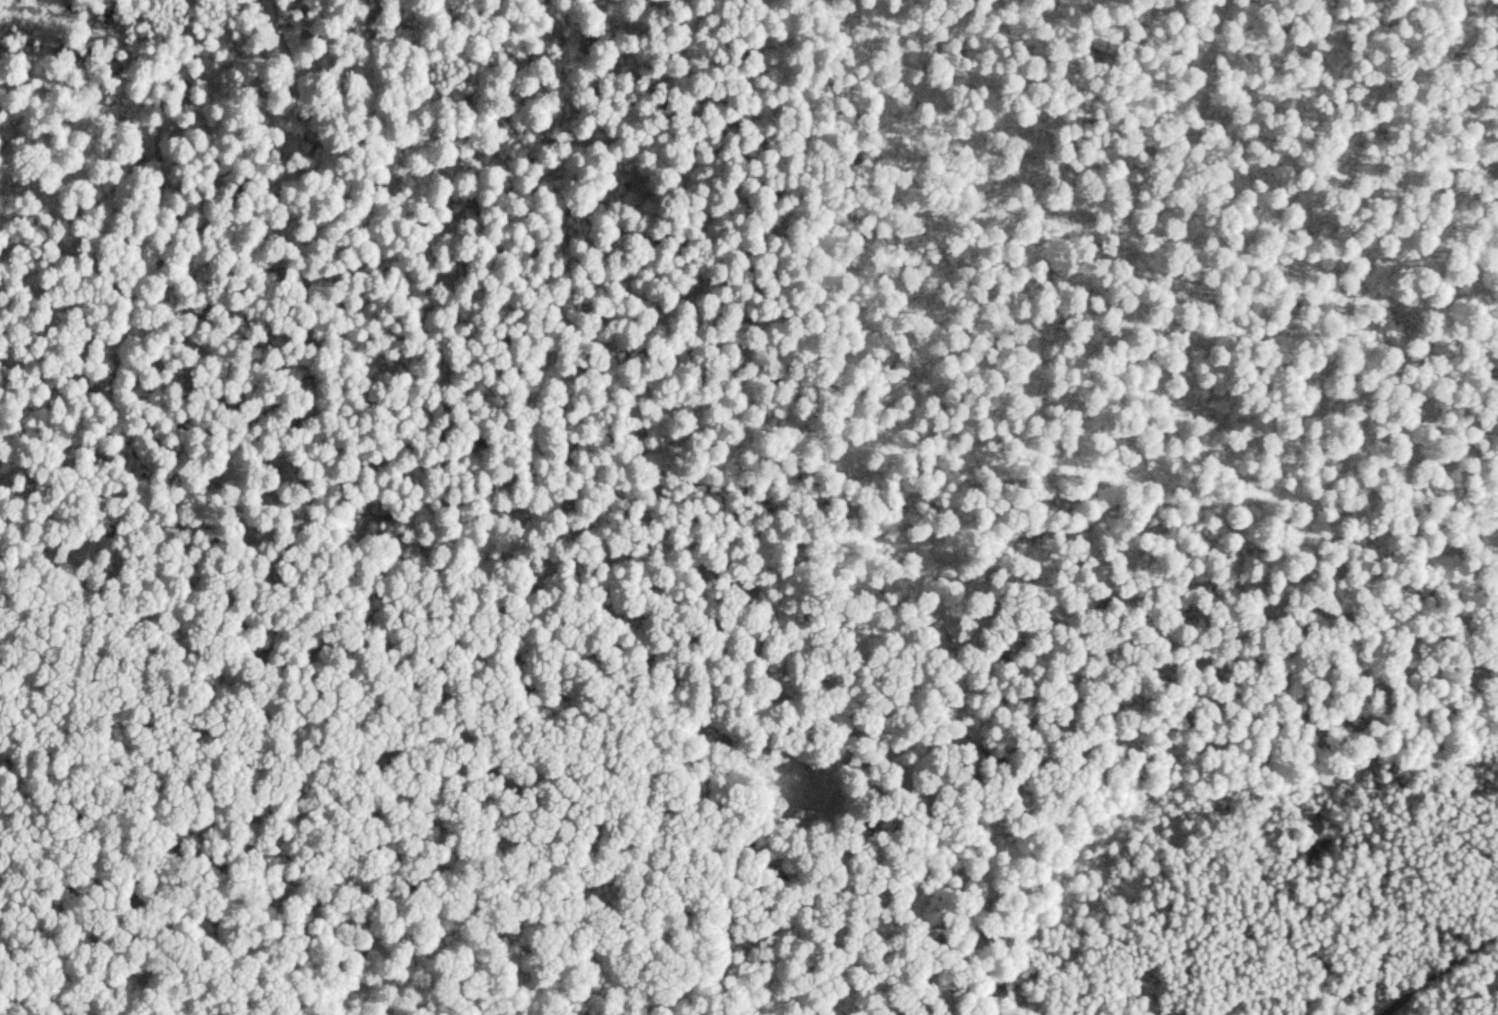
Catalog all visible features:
road: (1441, 970)

